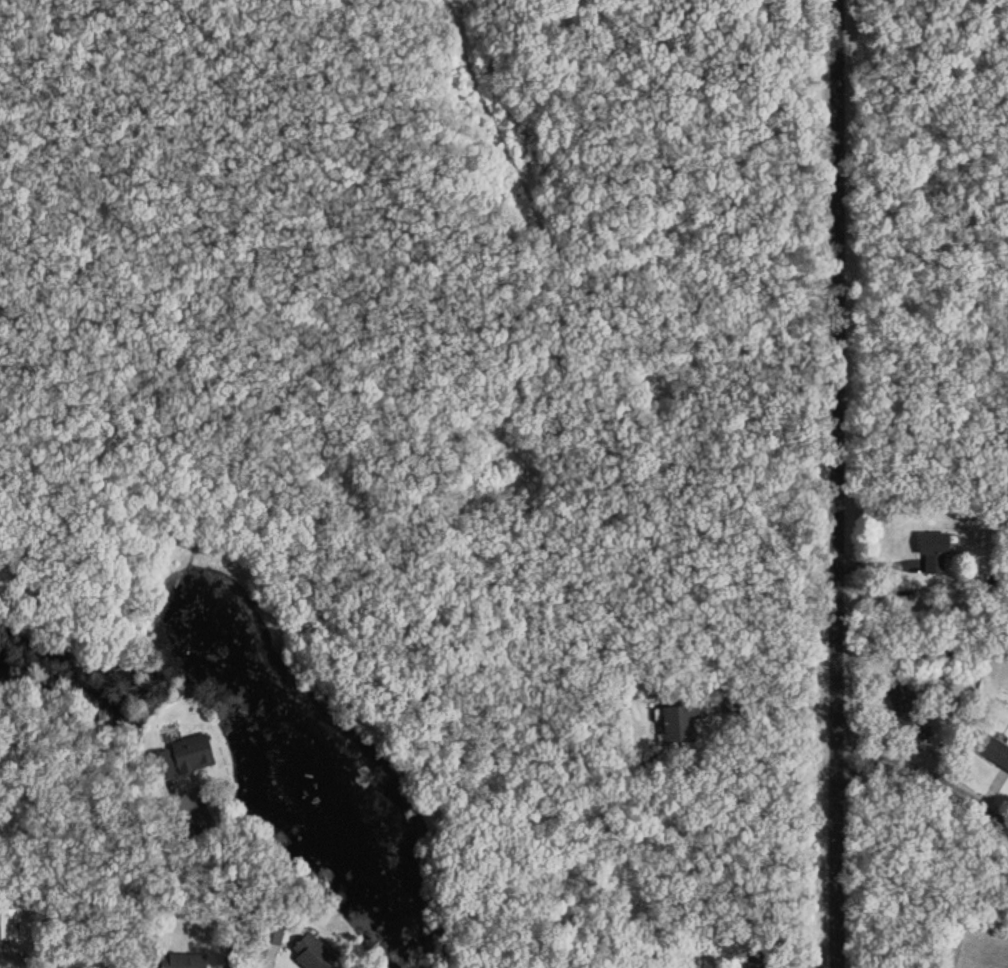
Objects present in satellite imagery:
road: (831, 484)
building: (930, 550)
road: (919, 647)
road: (778, 702)
building: (900, 704)
building: (678, 719)
building: (990, 750)
building: (189, 752)
road: (928, 780)
road: (227, 881)
building: (6, 923)
building: (308, 952)
building: (176, 960)
building: (751, 960)
road: (20, 963)
road: (260, 966)

